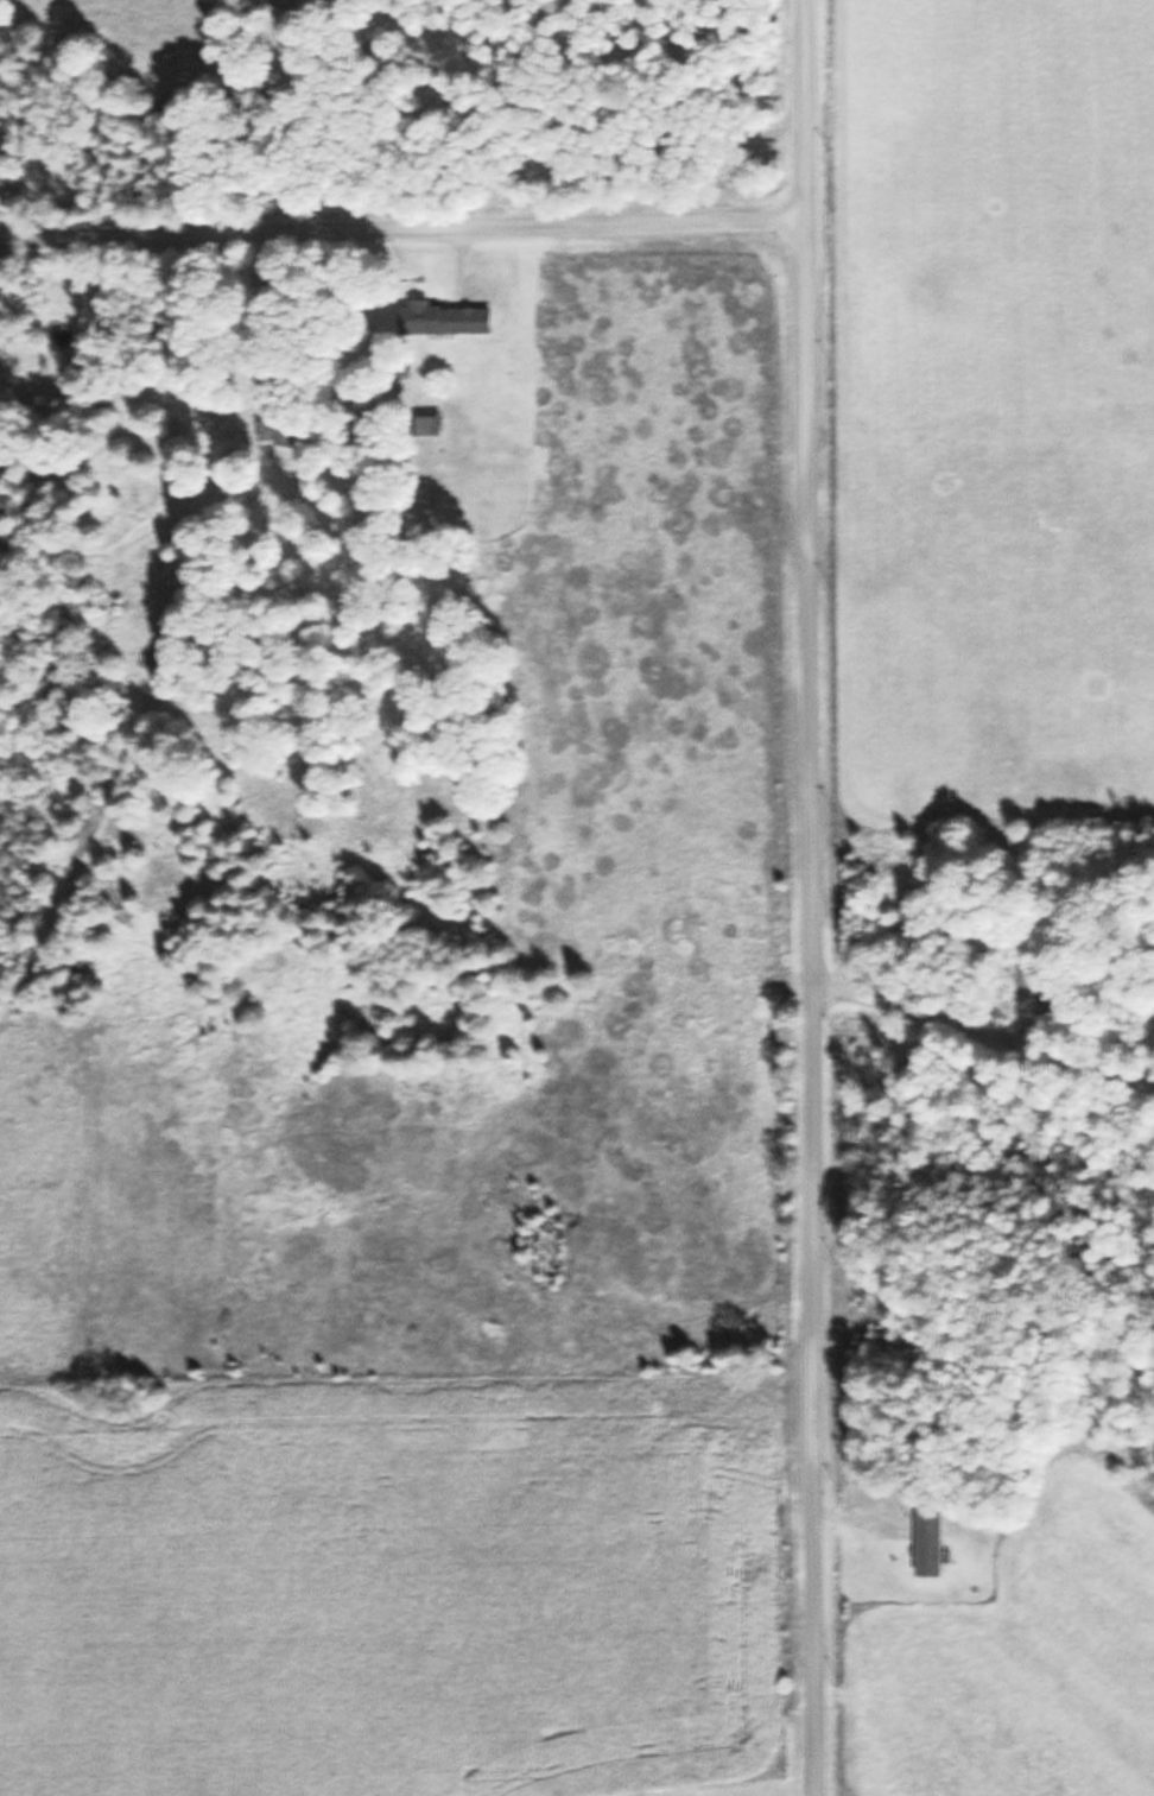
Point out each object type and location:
road: (402, 228)
building: (445, 318)
building: (274, 431)
building: (433, 434)
road: (809, 898)
road: (982, 1033)
building: (932, 1545)

